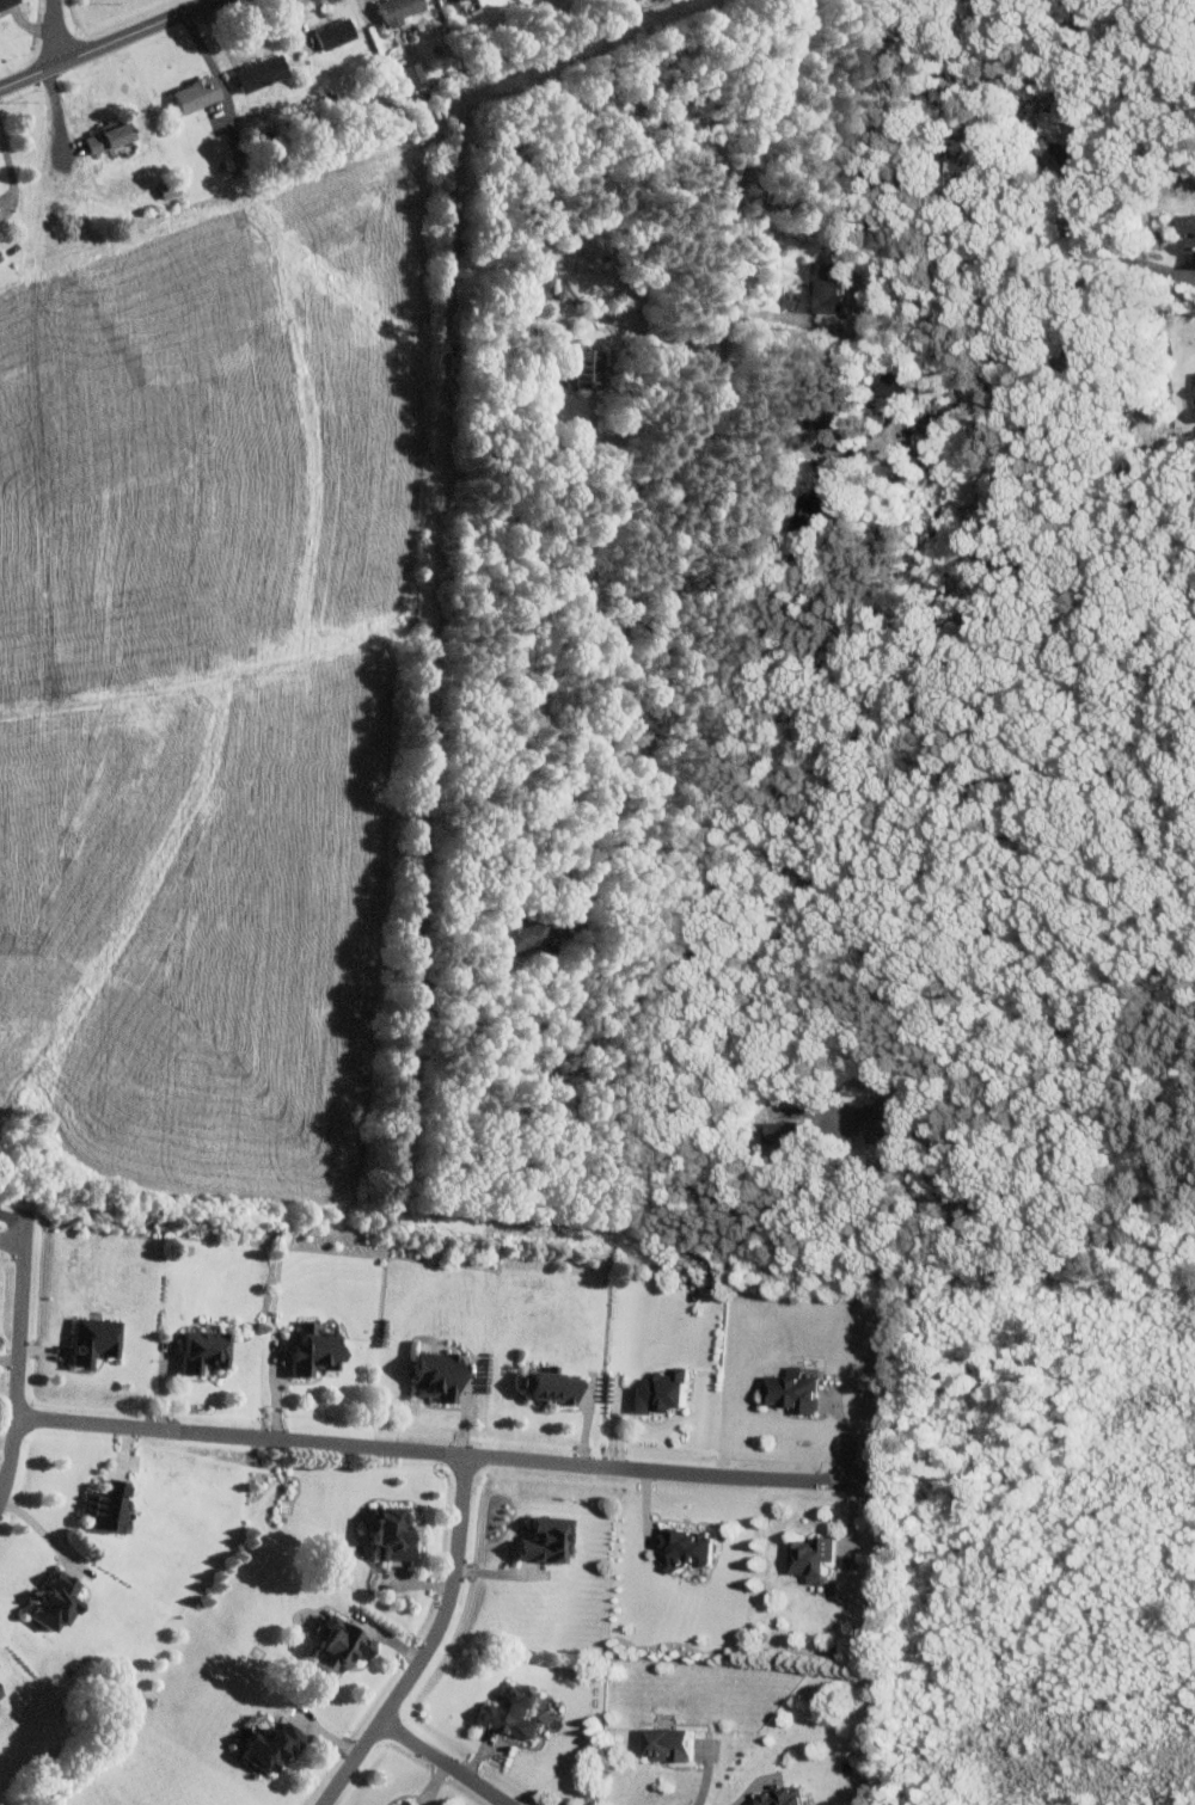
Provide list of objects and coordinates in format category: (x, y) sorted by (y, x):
building: (6, 2)
building: (393, 10)
road: (56, 33)
building: (331, 33)
road: (108, 44)
road: (213, 63)
building: (257, 73)
building: (411, 75)
building: (191, 94)
building: (1054, 122)
building: (103, 136)
road: (10, 170)
building: (1191, 235)
road: (1114, 254)
building: (1194, 260)
building: (540, 281)
building: (817, 289)
road: (642, 330)
building: (582, 369)
building: (893, 383)
road: (759, 444)
building: (809, 511)
road: (539, 604)
road: (508, 781)
building: (525, 931)
road: (776, 1000)
road: (1083, 1079)
building: (878, 1119)
building: (783, 1130)
road: (16, 1215)
building: (88, 1338)
building: (198, 1349)
building: (311, 1350)
road: (18, 1364)
building: (431, 1375)
building: (545, 1386)
building: (656, 1390)
building: (786, 1390)
road: (427, 1451)
building: (100, 1508)
building: (387, 1531)
road: (49, 1536)
building: (541, 1540)
building: (682, 1547)
building: (808, 1557)
building: (48, 1600)
road: (433, 1641)
building: (335, 1646)
building: (509, 1712)
building: (662, 1743)
building: (264, 1745)
road: (446, 1763)
road: (747, 1788)
building: (777, 1795)
building: (405, 1803)
building: (384, 1804)

